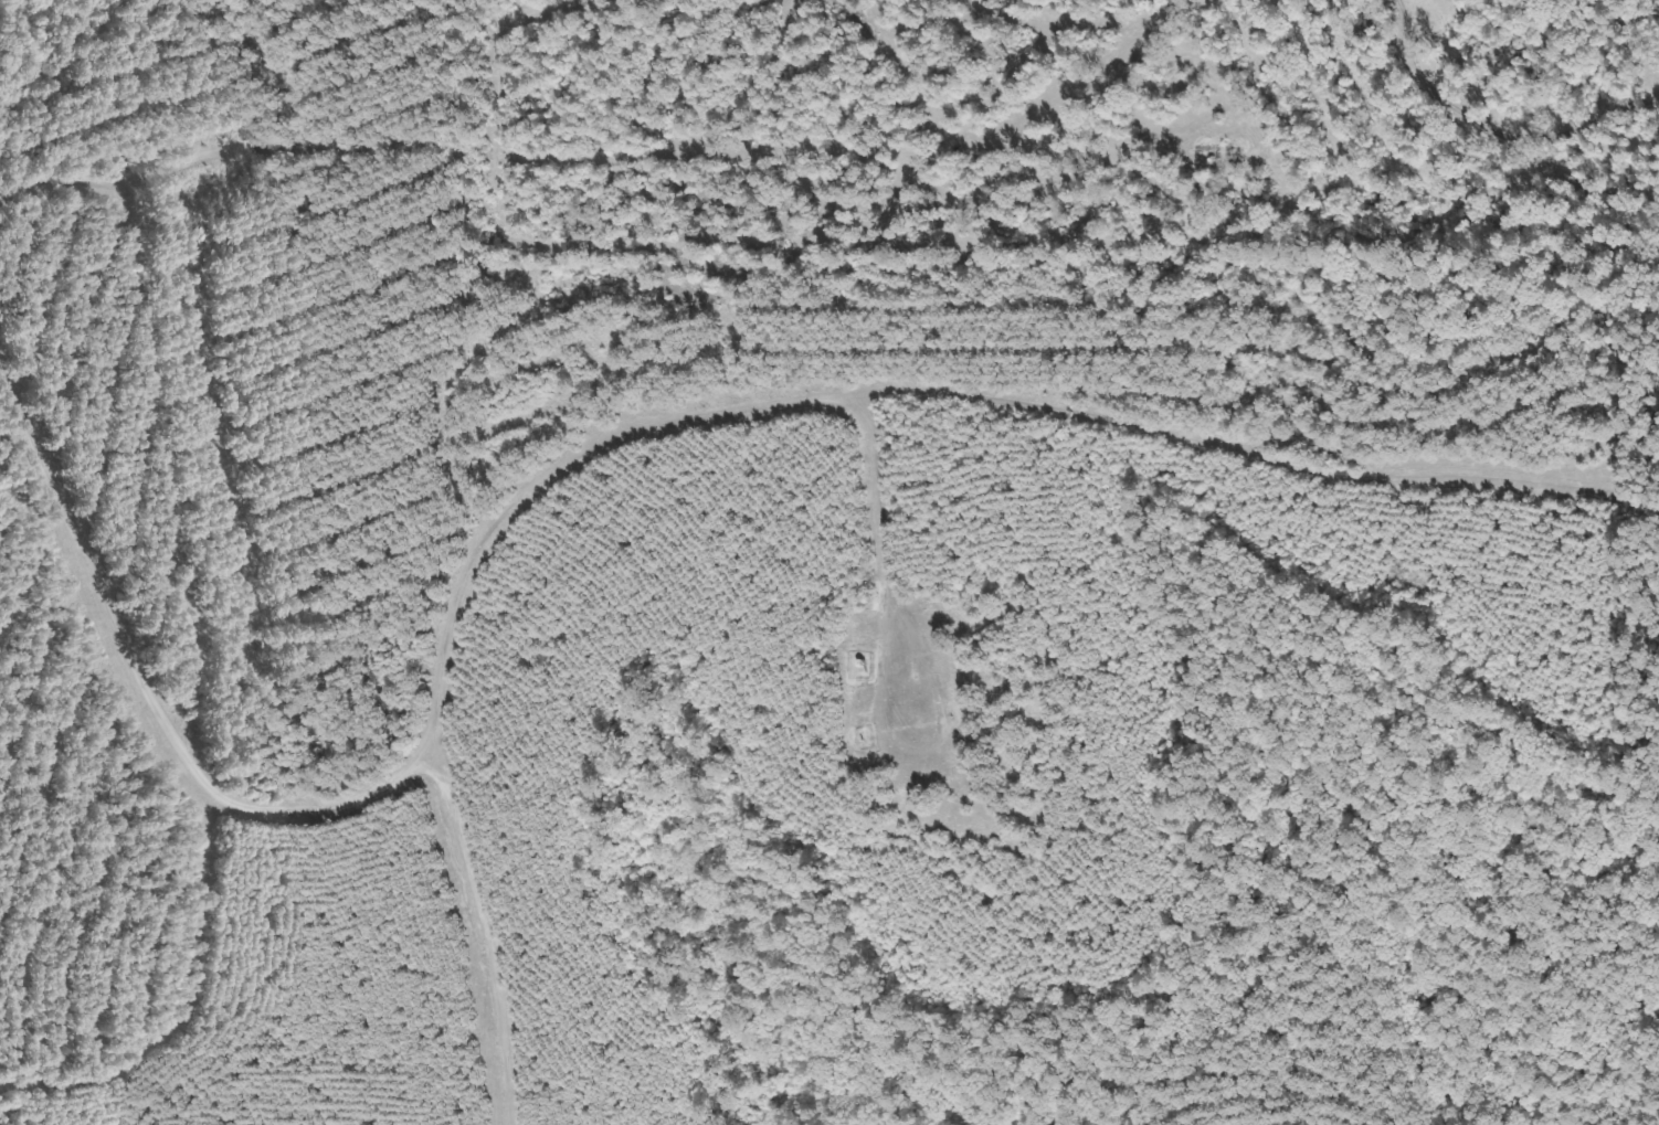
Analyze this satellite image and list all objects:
road: (504, 454)

